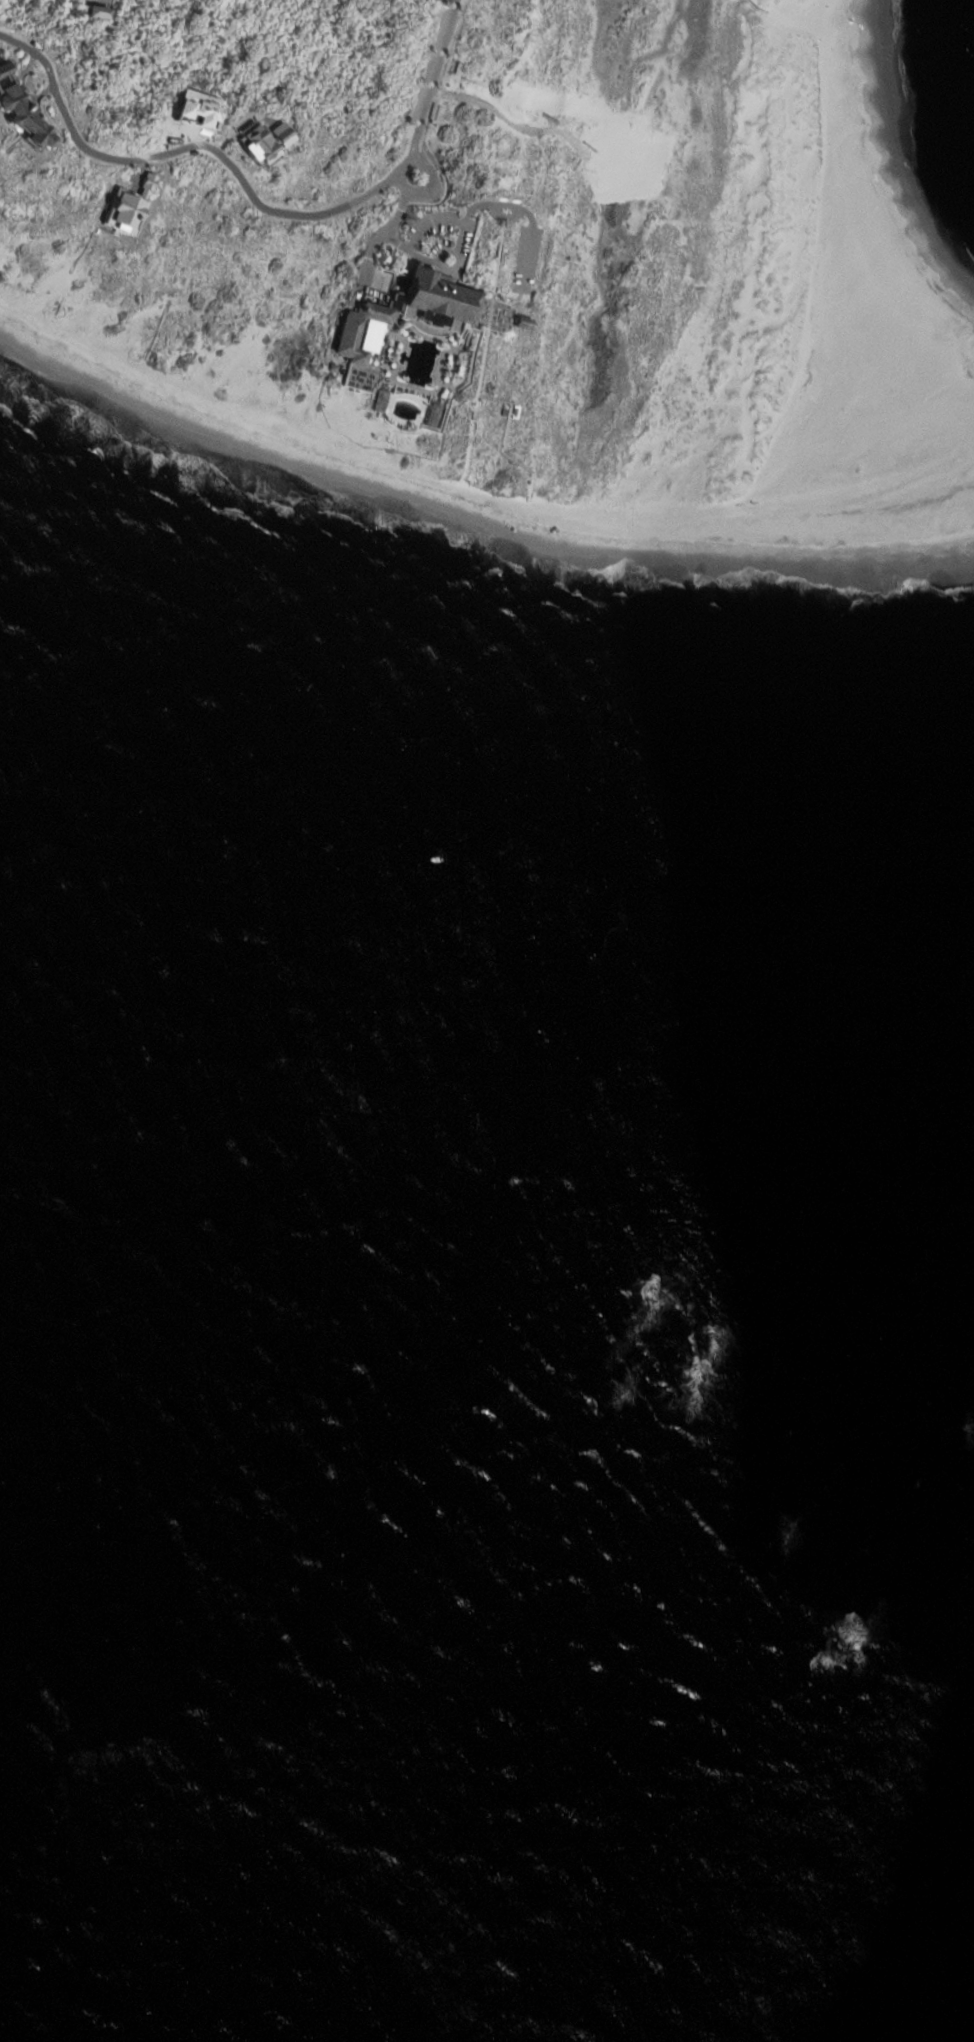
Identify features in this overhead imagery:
building: (92, 0)
road: (755, 6)
building: (103, 14)
building: (4, 66)
building: (23, 120)
building: (256, 137)
road: (254, 197)
building: (124, 205)
building: (401, 316)
road: (453, 492)

